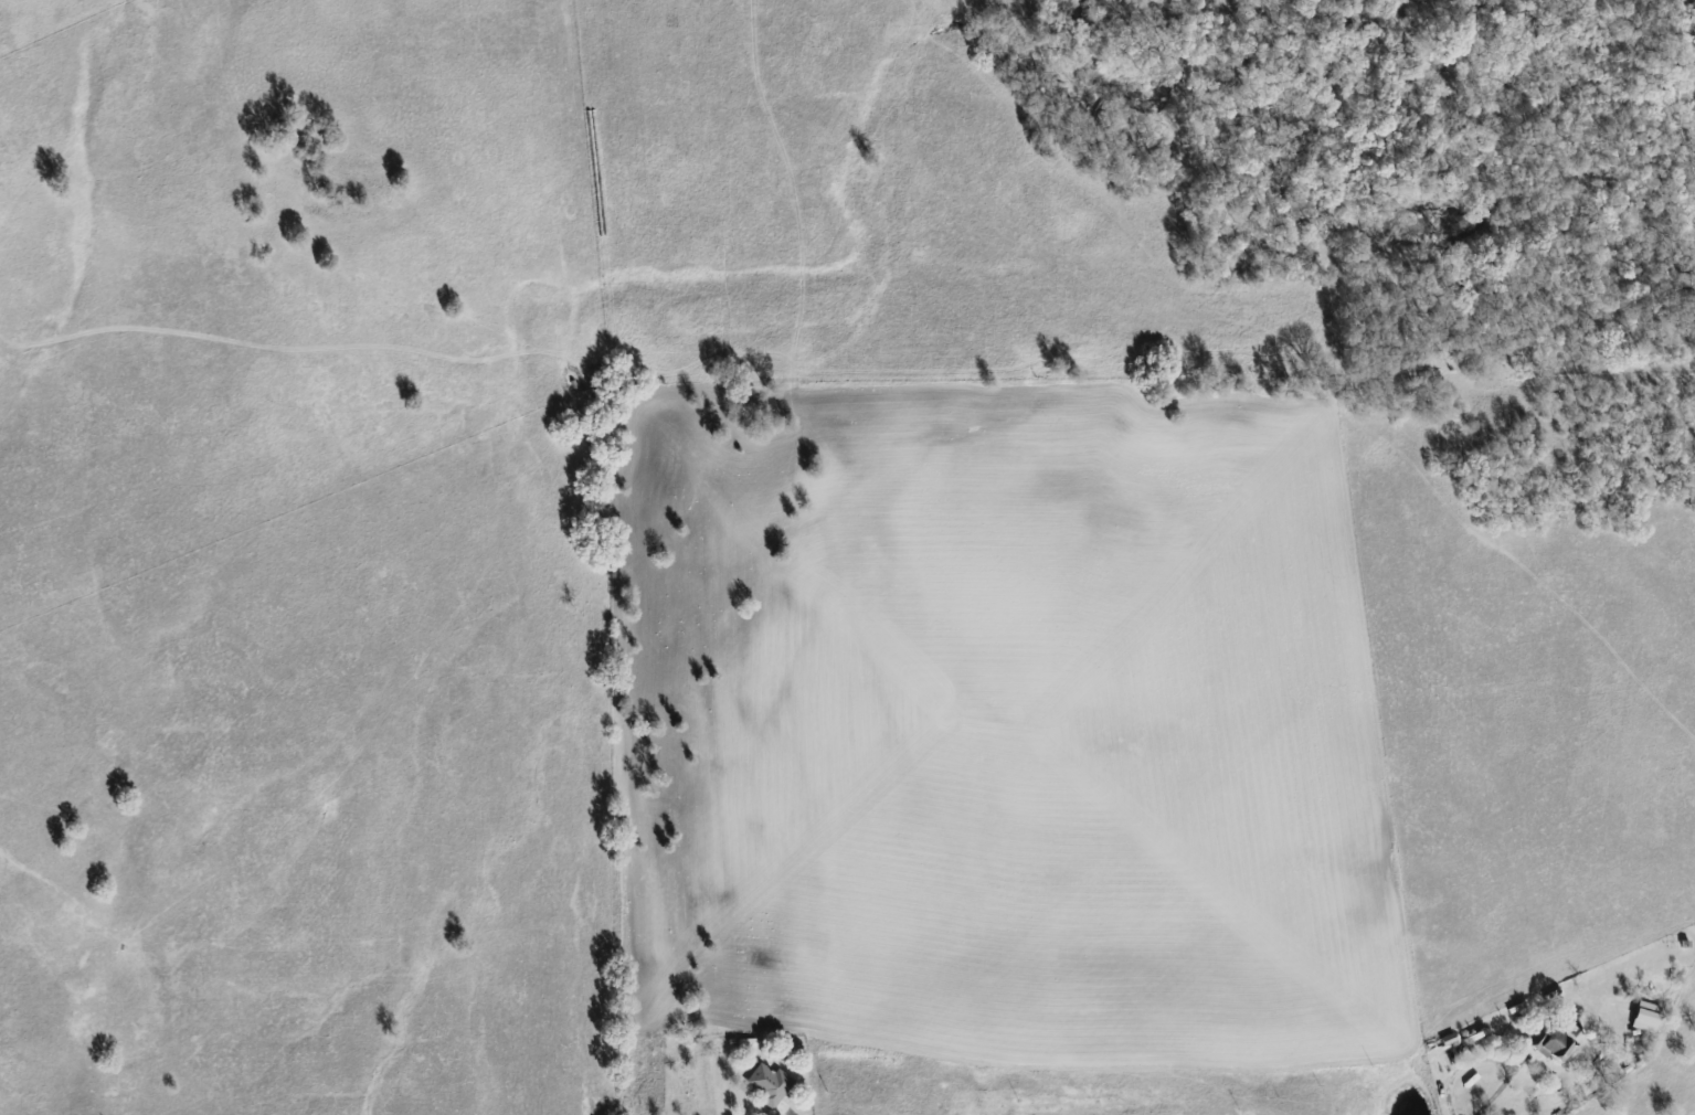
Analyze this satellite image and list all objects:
building: (1542, 1044)
building: (762, 1085)
road: (1461, 1102)

